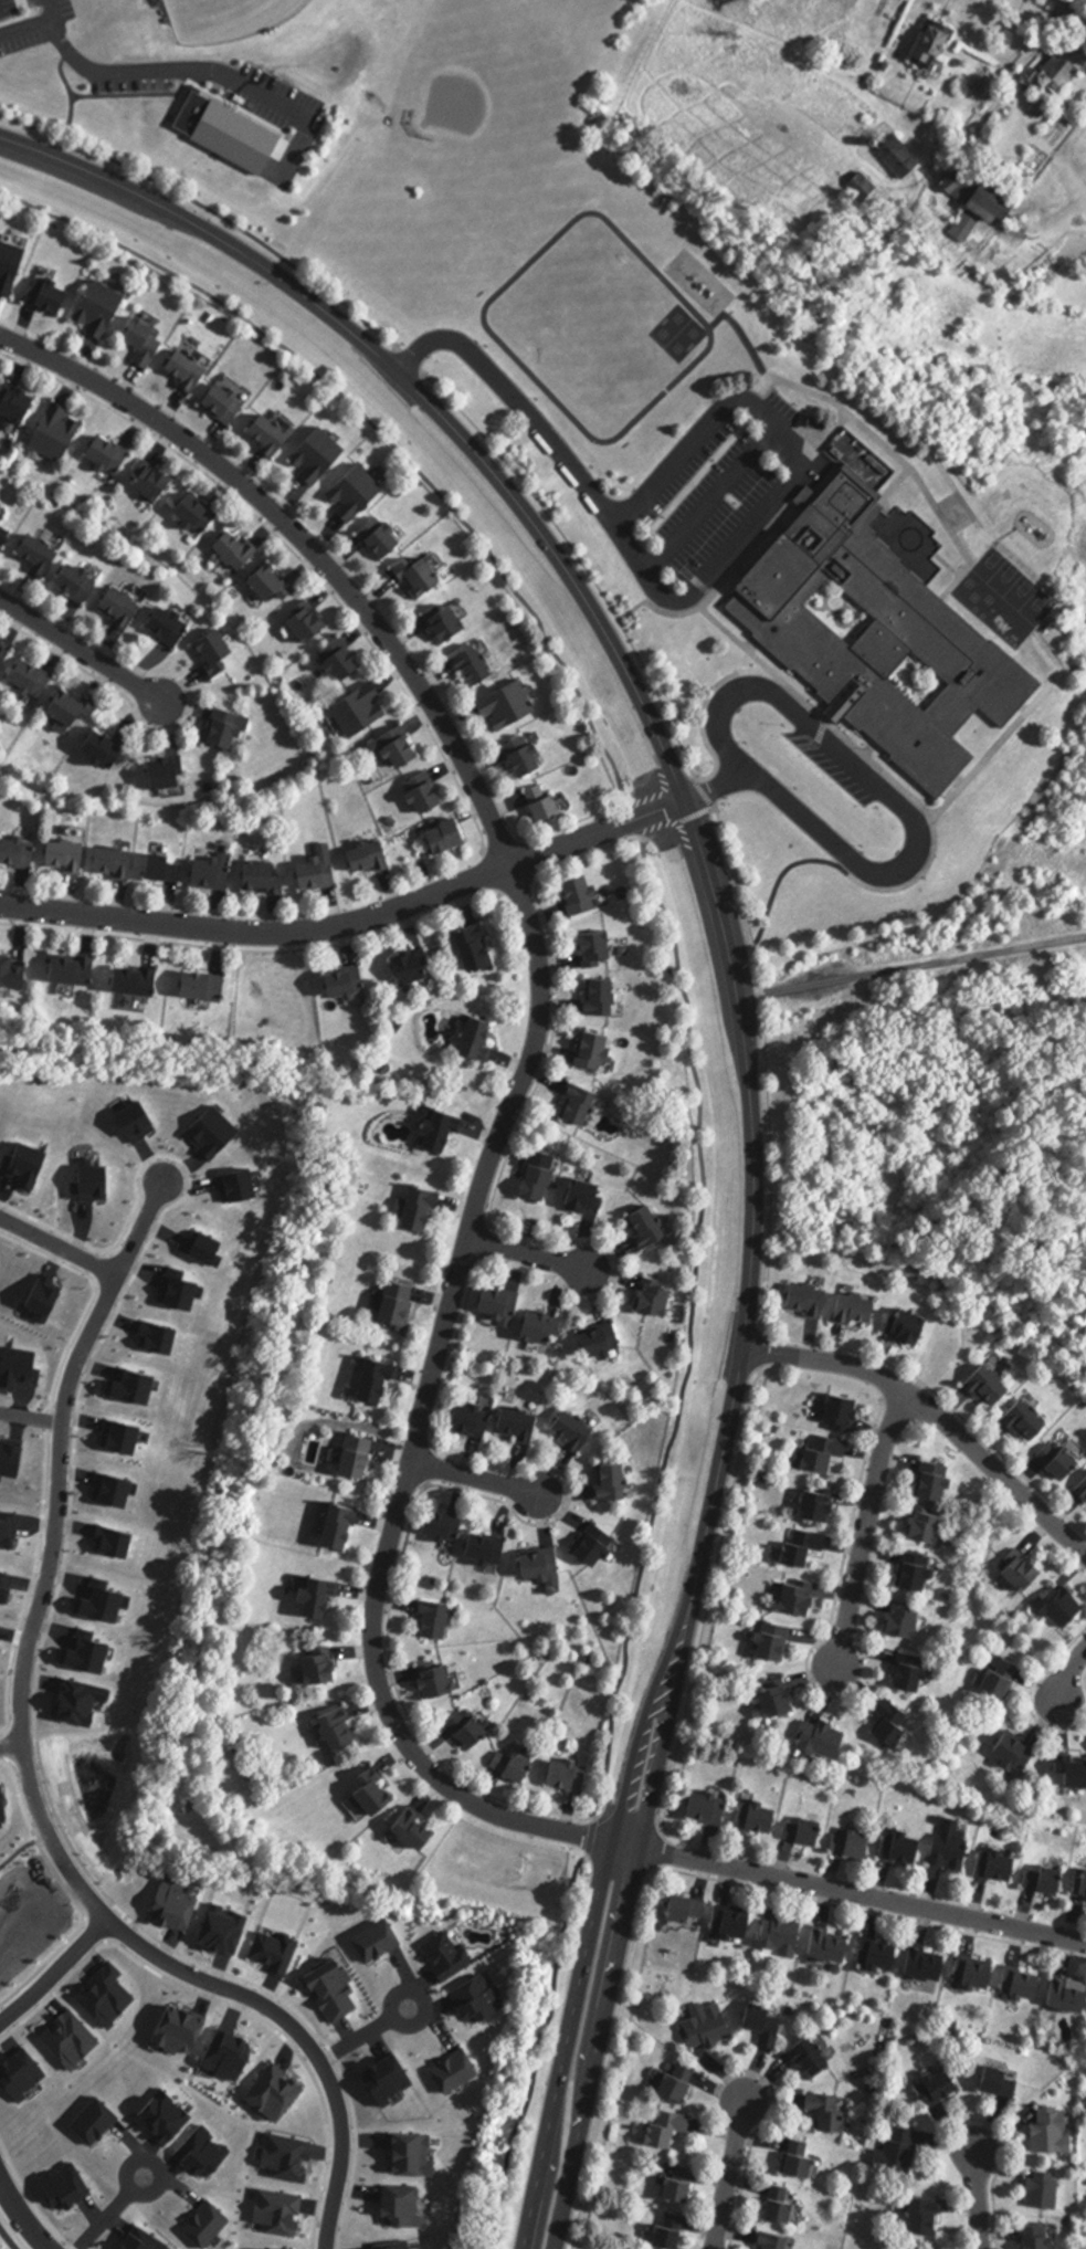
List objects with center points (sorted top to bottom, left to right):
road: (1080, 3)
park: (591, 7)
park: (234, 18)
road: (40, 27)
building: (928, 42)
building: (935, 53)
building: (842, 55)
building: (1063, 64)
road: (168, 72)
building: (1030, 74)
road: (1012, 81)
park: (171, 84)
park: (457, 104)
building: (1036, 107)
crop: (750, 117)
building: (869, 141)
silo: (869, 141)
building: (895, 156)
crop: (1058, 197)
building: (971, 201)
park: (375, 243)
building: (12, 267)
building: (53, 294)
building: (99, 316)
track: (598, 327)
road: (746, 337)
building: (148, 341)
park: (582, 349)
building: (192, 371)
building: (19, 402)
building: (228, 402)
road: (710, 427)
road: (840, 427)
building: (60, 432)
road: (381, 432)
road: (815, 433)
building: (275, 435)
road: (895, 448)
building: (112, 454)
building: (316, 461)
building: (157, 480)
road: (900, 486)
building: (355, 498)
road: (714, 501)
parking lot: (711, 503)
building: (201, 513)
road: (782, 528)
building: (387, 537)
road: (993, 540)
building: (241, 550)
road: (296, 553)
building: (42, 555)
road: (584, 561)
road: (958, 567)
road: (744, 572)
building: (421, 579)
building: (80, 582)
building: (277, 582)
road: (705, 586)
road: (718, 588)
building: (125, 608)
building: (315, 622)
building: (451, 622)
building: (172, 627)
building: (884, 635)
road: (755, 647)
road: (78, 650)
building: (220, 653)
building: (4, 659)
building: (346, 660)
building: (478, 664)
building: (34, 679)
road: (119, 692)
road: (708, 704)
building: (512, 706)
building: (75, 707)
building: (365, 711)
building: (231, 729)
road: (822, 729)
building: (402, 747)
building: (107, 749)
building: (528, 758)
parking lot: (834, 767)
building: (170, 774)
road: (906, 789)
building: (430, 794)
road: (708, 795)
building: (548, 805)
road: (907, 813)
road: (639, 823)
building: (451, 838)
building: (18, 852)
road: (591, 854)
building: (67, 858)
building: (372, 859)
building: (116, 863)
building: (167, 869)
building: (321, 871)
building: (214, 874)
building: (266, 877)
road: (539, 881)
road: (916, 883)
building: (584, 895)
road: (350, 921)
road: (758, 946)
building: (479, 949)
building: (601, 950)
road: (255, 953)
building: (414, 969)
road: (909, 969)
building: (77, 970)
building: (13, 973)
building: (143, 981)
building: (348, 986)
building: (210, 988)
building: (604, 998)
building: (482, 1039)
road: (738, 1040)
building: (599, 1051)
road: (524, 1066)
building: (584, 1105)
building: (446, 1131)
building: (541, 1184)
building: (590, 1197)
building: (424, 1210)
road: (139, 1228)
building: (651, 1228)
road: (57, 1248)
road: (523, 1254)
road: (101, 1264)
road: (91, 1296)
building: (657, 1300)
building: (812, 1302)
building: (402, 1304)
building: (505, 1306)
building: (858, 1310)
building: (910, 1327)
building: (544, 1328)
building: (605, 1343)
building: (381, 1383)
building: (990, 1387)
building: (845, 1413)
road: (30, 1416)
road: (929, 1416)
road: (46, 1419)
building: (473, 1421)
building: (1029, 1421)
building: (523, 1426)
building: (576, 1430)
road: (60, 1451)
building: (827, 1453)
building: (361, 1458)
building: (1064, 1460)
road: (471, 1478)
building: (937, 1482)
building: (615, 1483)
building: (1084, 1490)
building: (821, 1506)
road: (71, 1523)
building: (446, 1525)
building: (931, 1525)
building: (346, 1528)
road: (858, 1528)
building: (808, 1547)
building: (599, 1549)
building: (489, 1551)
building: (547, 1568)
building: (920, 1573)
building: (1030, 1573)
road: (29, 1580)
building: (324, 1599)
building: (801, 1600)
building: (1065, 1606)
building: (440, 1621)
building: (907, 1622)
building: (776, 1648)
building: (325, 1669)
building: (916, 1674)
road: (1069, 1675)
building: (1002, 1679)
building: (440, 1682)
building: (781, 1700)
building: (895, 1725)
building: (472, 1730)
building: (344, 1732)
building: (825, 1741)
road: (3, 1745)
road: (10, 1746)
building: (1019, 1752)
building: (516, 1767)
building: (1074, 1770)
building: (570, 1777)
building: (375, 1798)
building: (710, 1809)
building: (760, 1819)
building: (805, 1832)
building: (855, 1843)
building: (952, 1846)
building: (904, 1848)
building: (1000, 1868)
building: (1048, 1881)
building: (1080, 1885)
road: (67, 1891)
road: (857, 1893)
building: (689, 1911)
building: (736, 1925)
road: (94, 1932)
building: (783, 1936)
building: (833, 1947)
building: (881, 1955)
road: (162, 1963)
building: (929, 1966)
road: (54, 1972)
building: (977, 1976)
building: (1024, 1986)
building: (1068, 1996)
road: (233, 2006)
building: (765, 2024)
building: (708, 2028)
road: (361, 2035)
road: (331, 2051)
building: (812, 2057)
building: (1003, 2081)
building: (678, 2084)
building: (940, 2085)
building: (831, 2112)
building: (672, 2126)
building: (1054, 2131)
building: (902, 2150)
road: (355, 2155)
building: (804, 2157)
road: (721, 2175)
building: (681, 2184)
building: (1046, 2189)
road: (28, 2192)
road: (970, 2199)
building: (784, 2205)
road: (108, 2213)
building: (930, 2215)
road: (19, 2216)
building: (671, 2236)
building: (1041, 2237)
building: (776, 2240)
road: (71, 2246)

